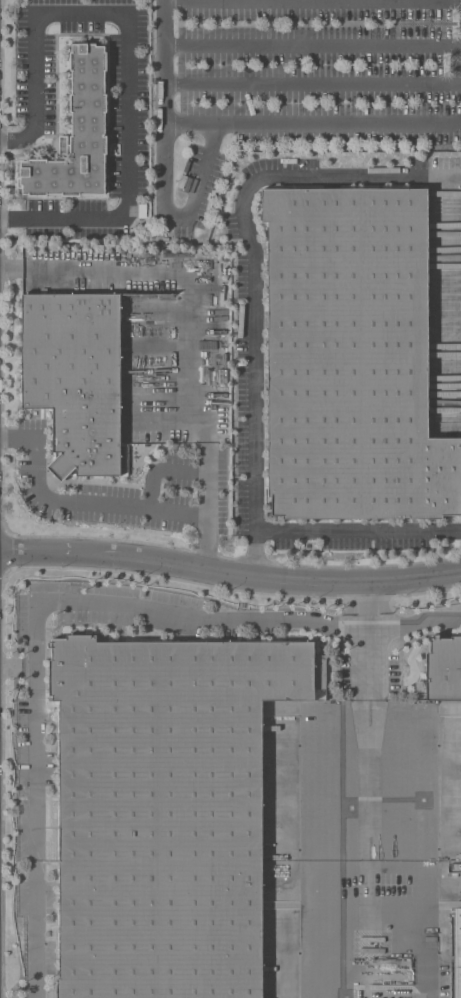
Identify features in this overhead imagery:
road: (312, 1)
road: (313, 45)
road: (128, 57)
road: (313, 83)
road: (166, 108)
road: (313, 122)
building: (79, 137)
road: (201, 180)
road: (255, 255)
road: (11, 269)
road: (175, 269)
road: (159, 312)
road: (158, 347)
building: (354, 357)
road: (157, 375)
building: (76, 378)
road: (208, 437)
road: (9, 439)
road: (88, 504)
road: (358, 531)
road: (208, 552)
road: (256, 560)
road: (230, 573)
road: (369, 597)
road: (369, 619)
road: (414, 624)
road: (34, 636)
road: (17, 667)
building: (444, 671)
building: (169, 810)
road: (342, 811)
building: (456, 952)

